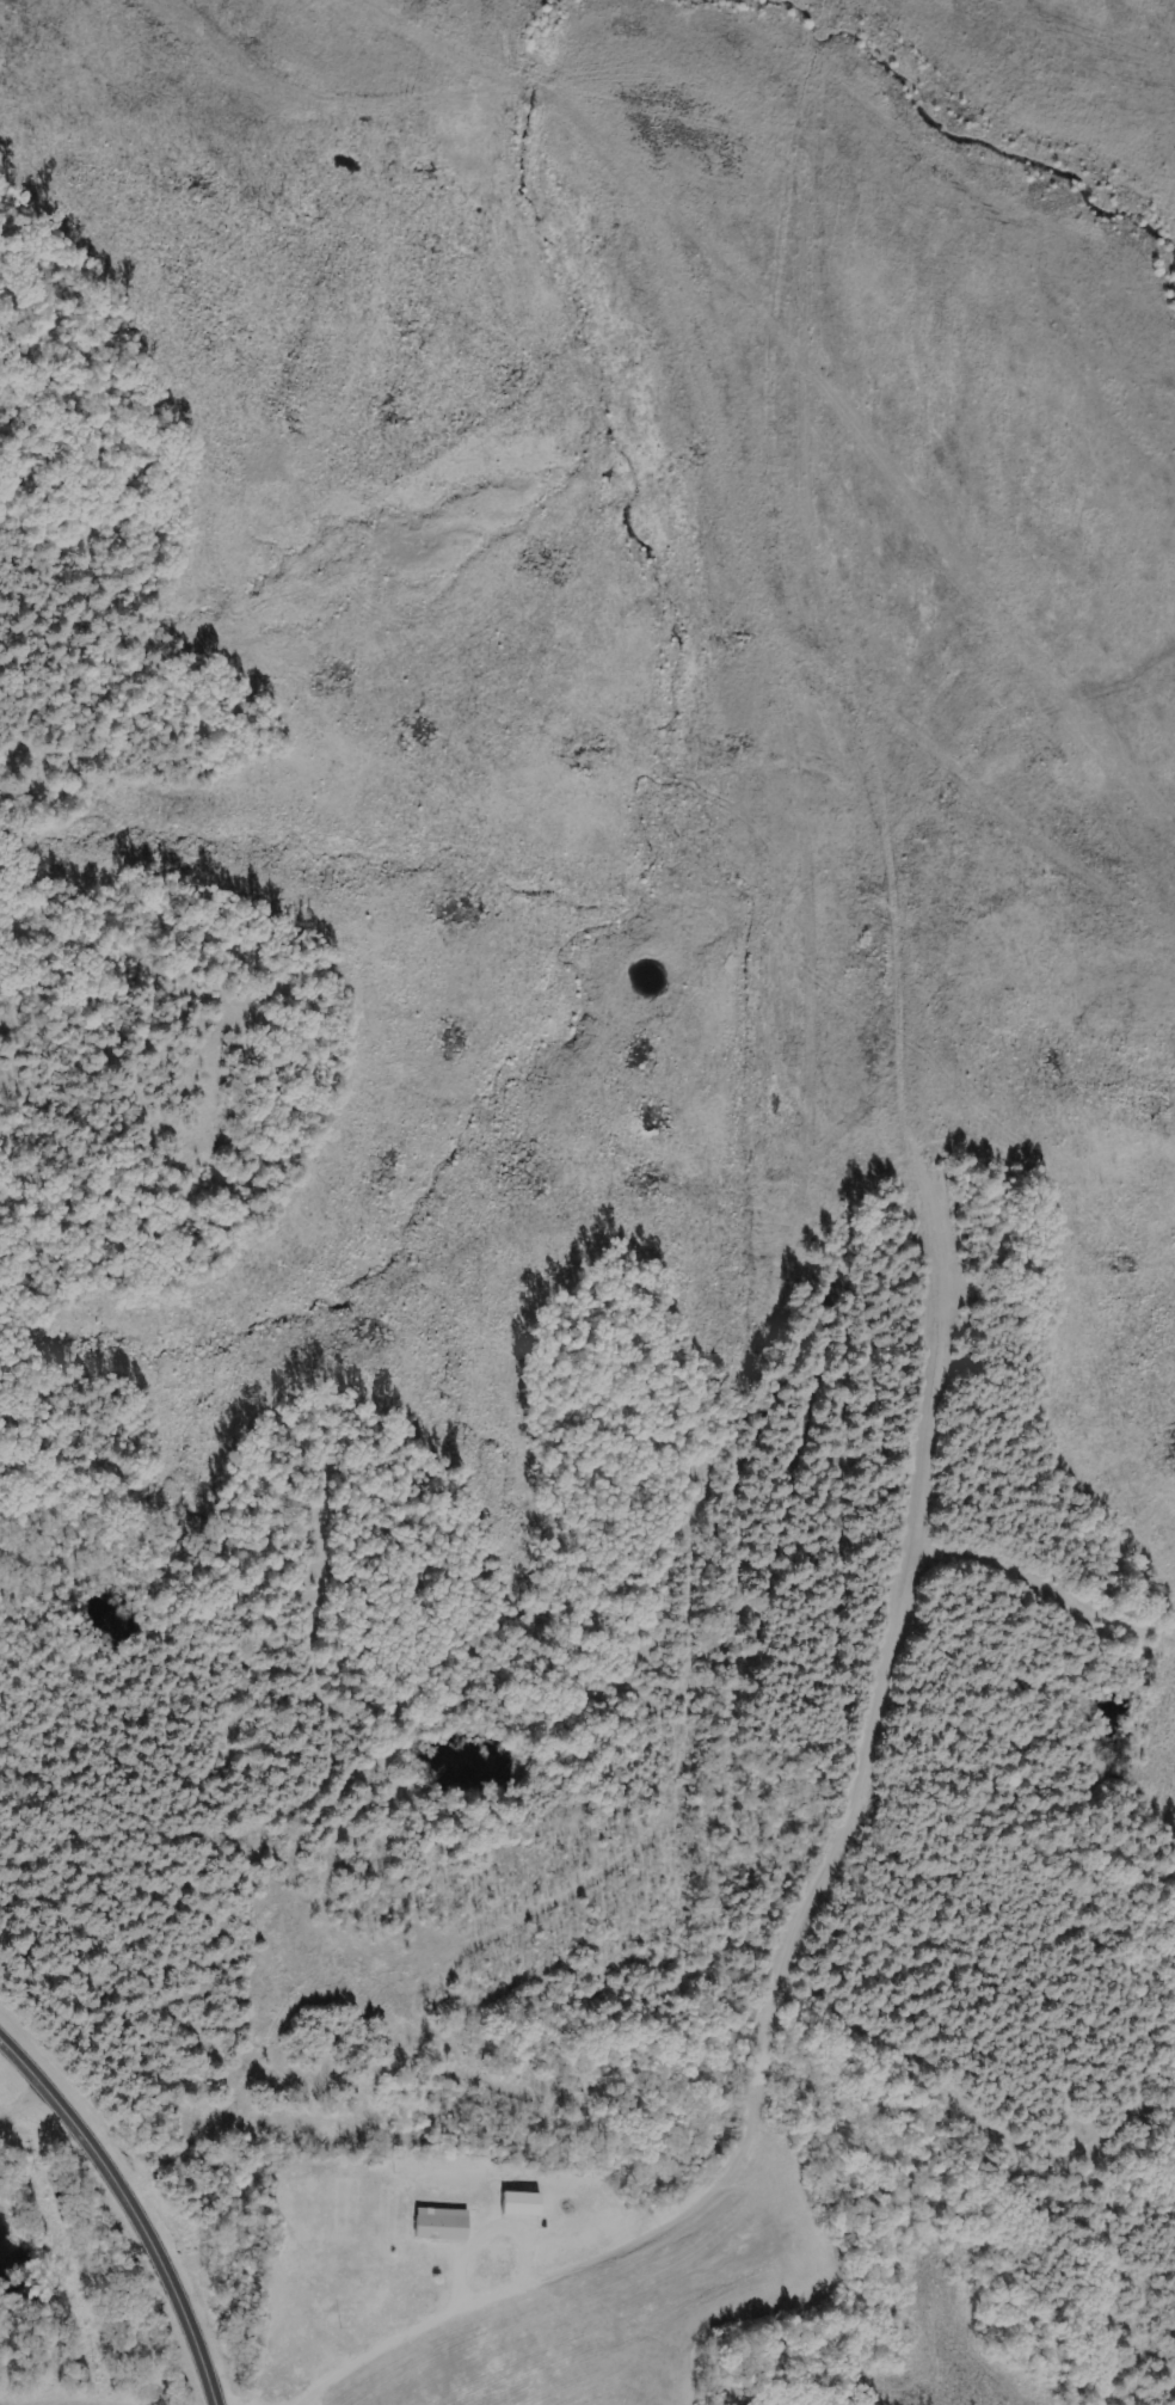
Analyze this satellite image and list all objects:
building: (521, 2204)
road: (133, 2205)
building: (439, 2225)
road: (547, 2243)

